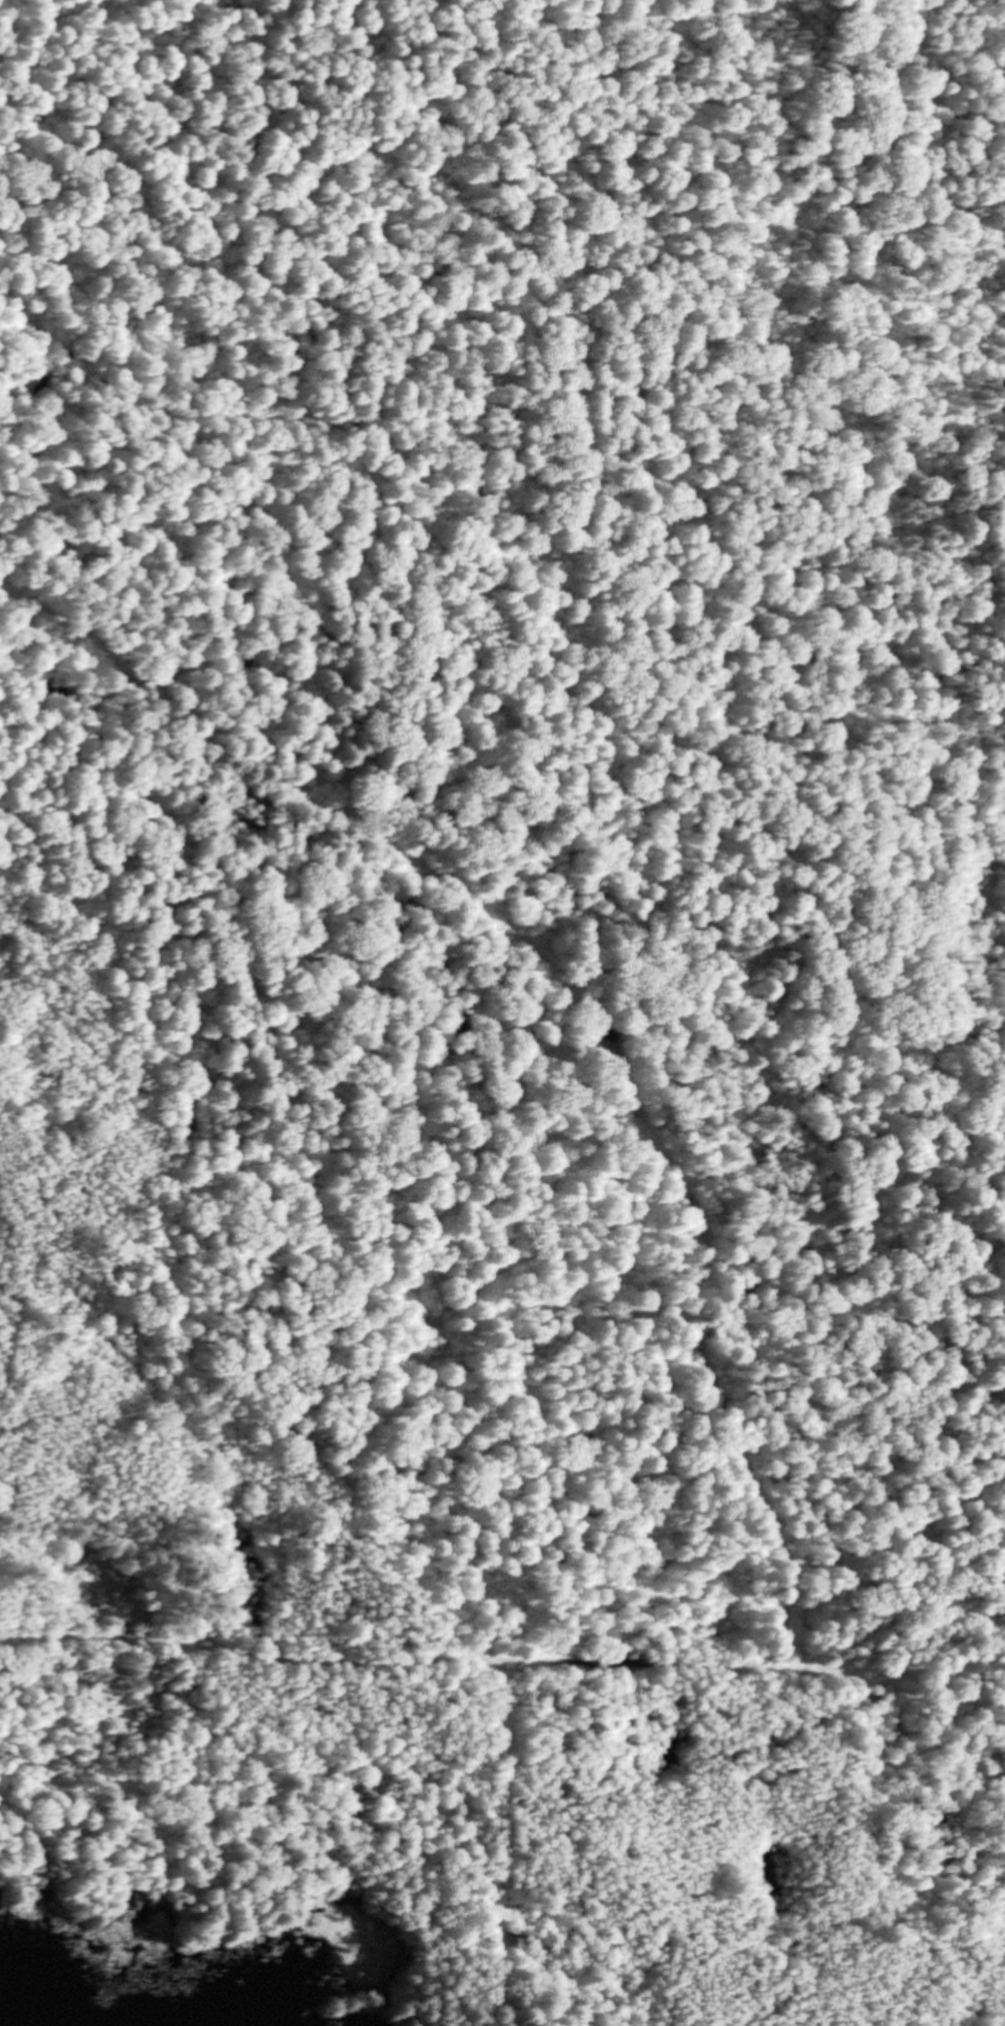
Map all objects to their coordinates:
road: (502, 1656)

